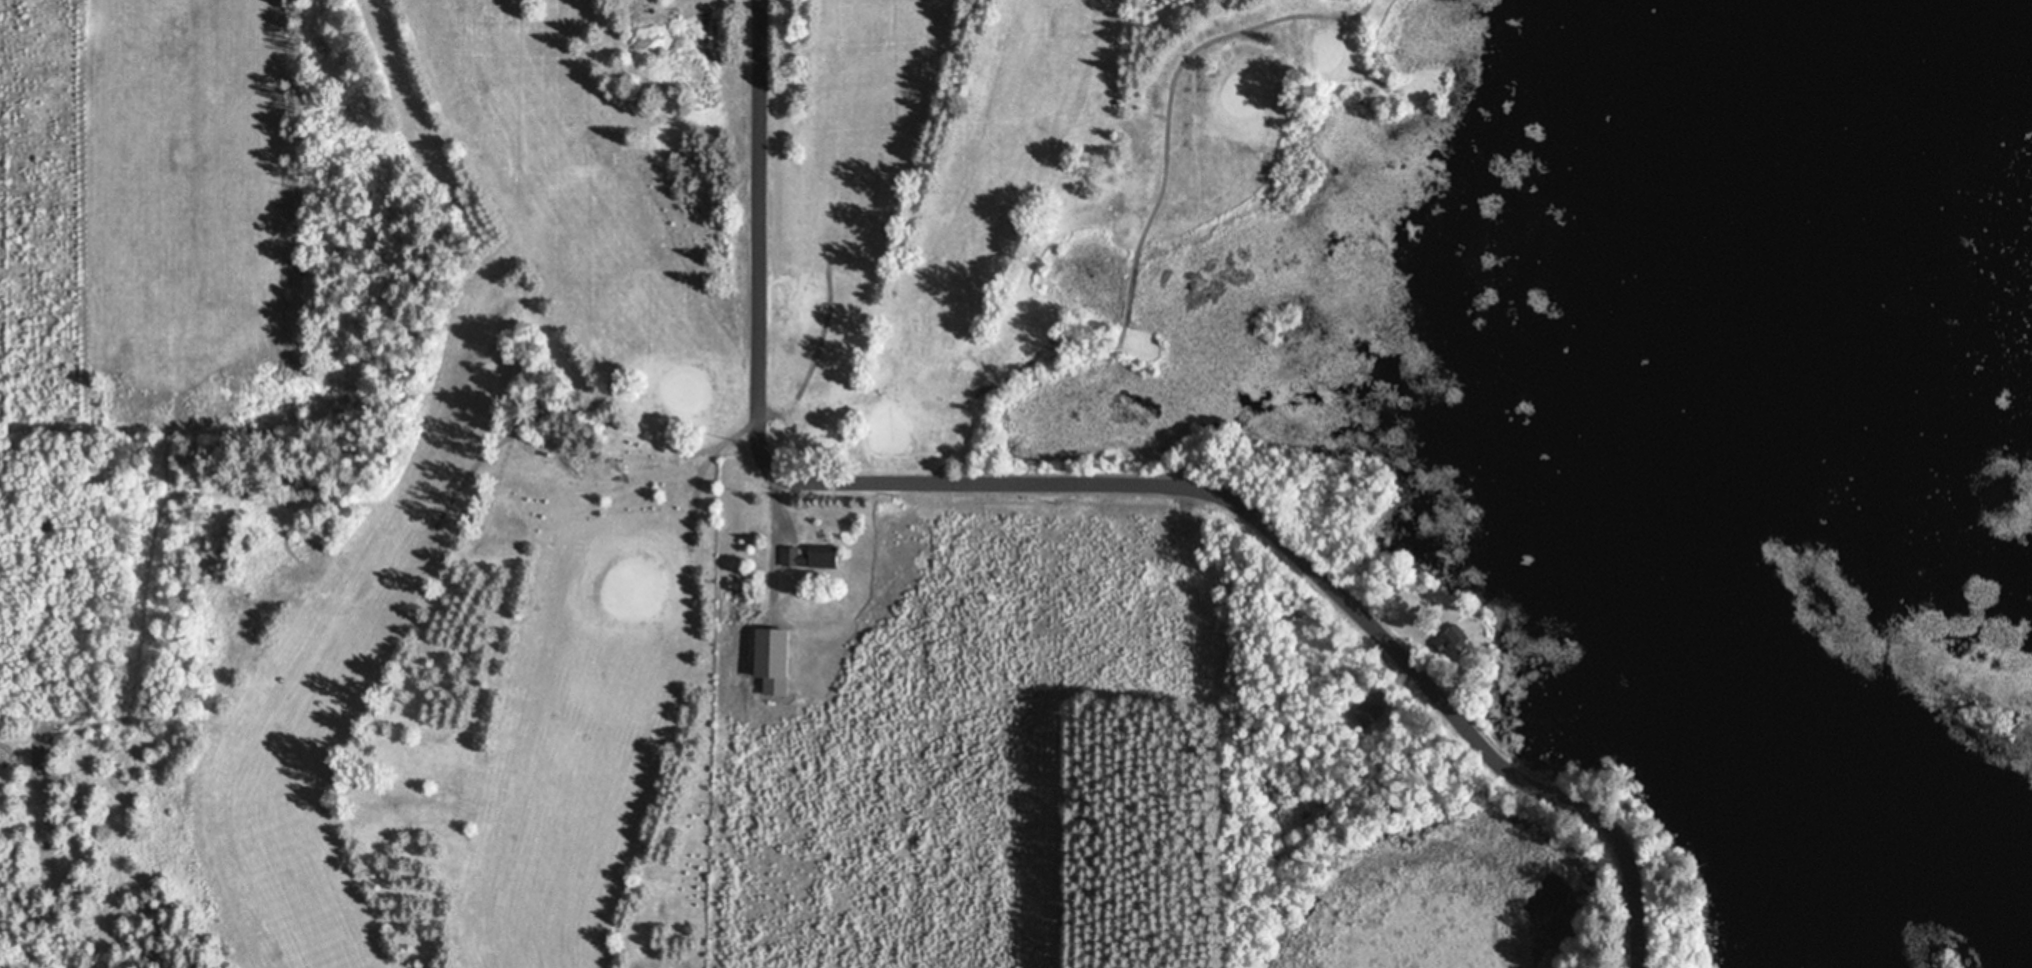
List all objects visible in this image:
park: (651, 430)
road: (1102, 479)
building: (808, 557)
building: (1450, 640)
building: (1367, 712)

